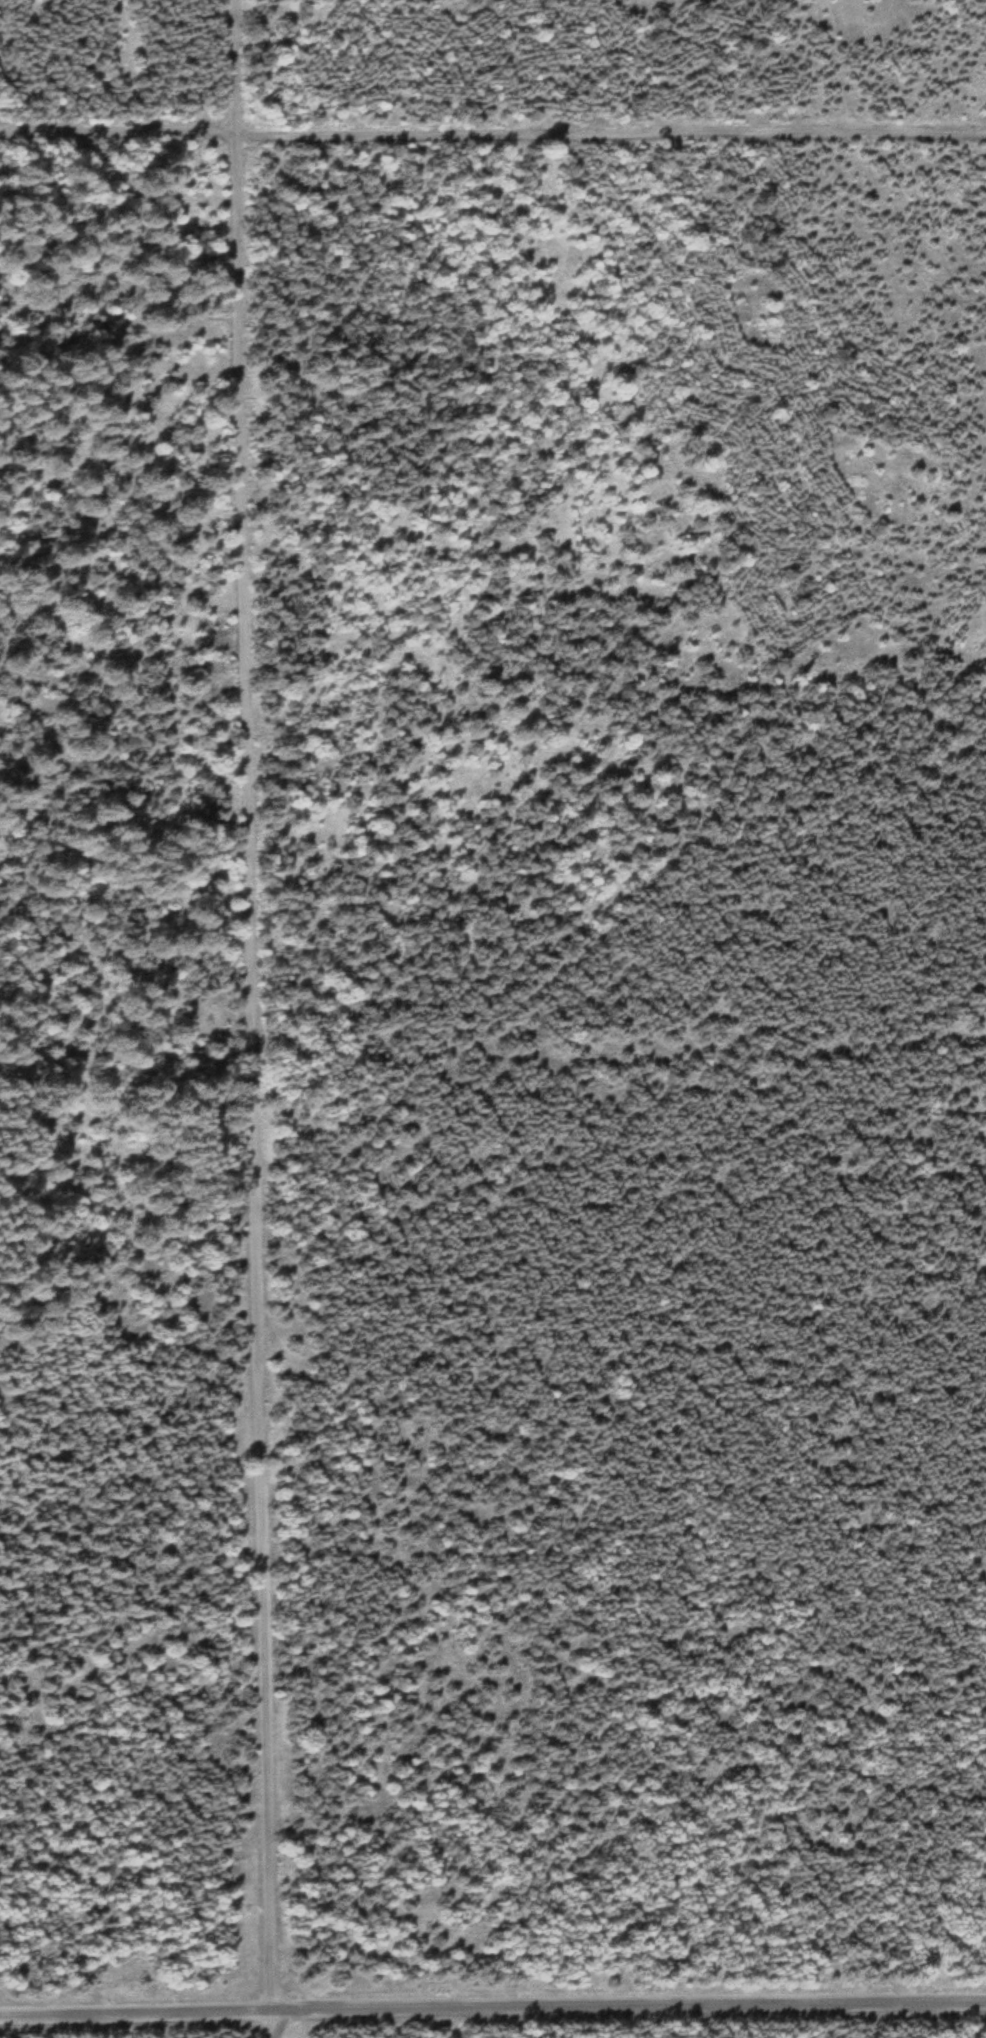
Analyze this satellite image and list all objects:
road: (492, 138)
road: (259, 1018)
road: (492, 2013)

